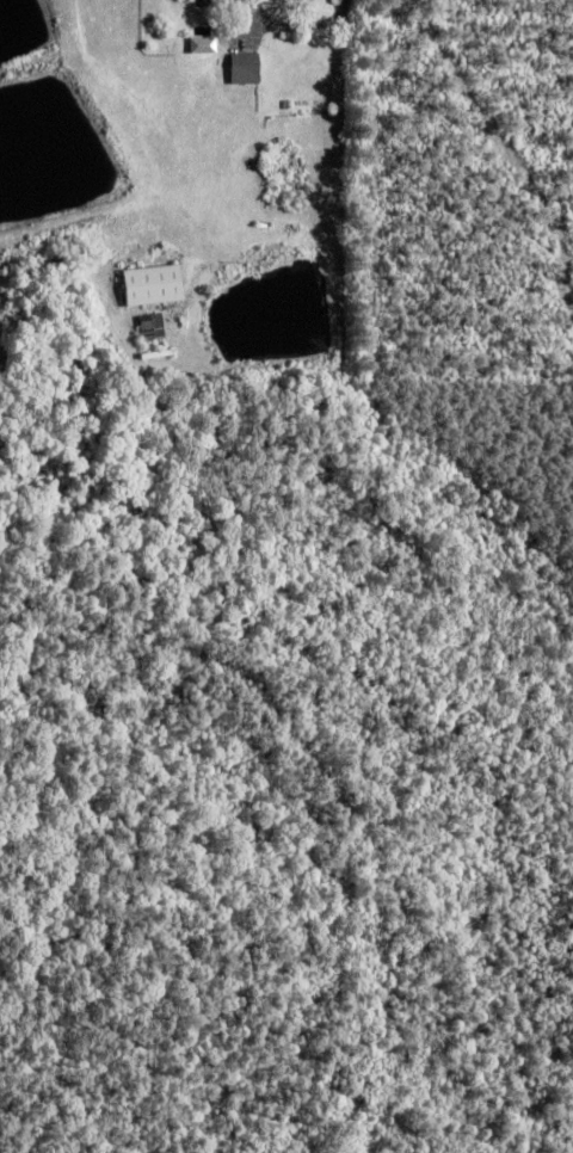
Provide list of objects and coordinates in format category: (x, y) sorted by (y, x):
building: (204, 4)
building: (228, 5)
building: (198, 44)
building: (246, 70)
building: (154, 288)
building: (153, 329)

